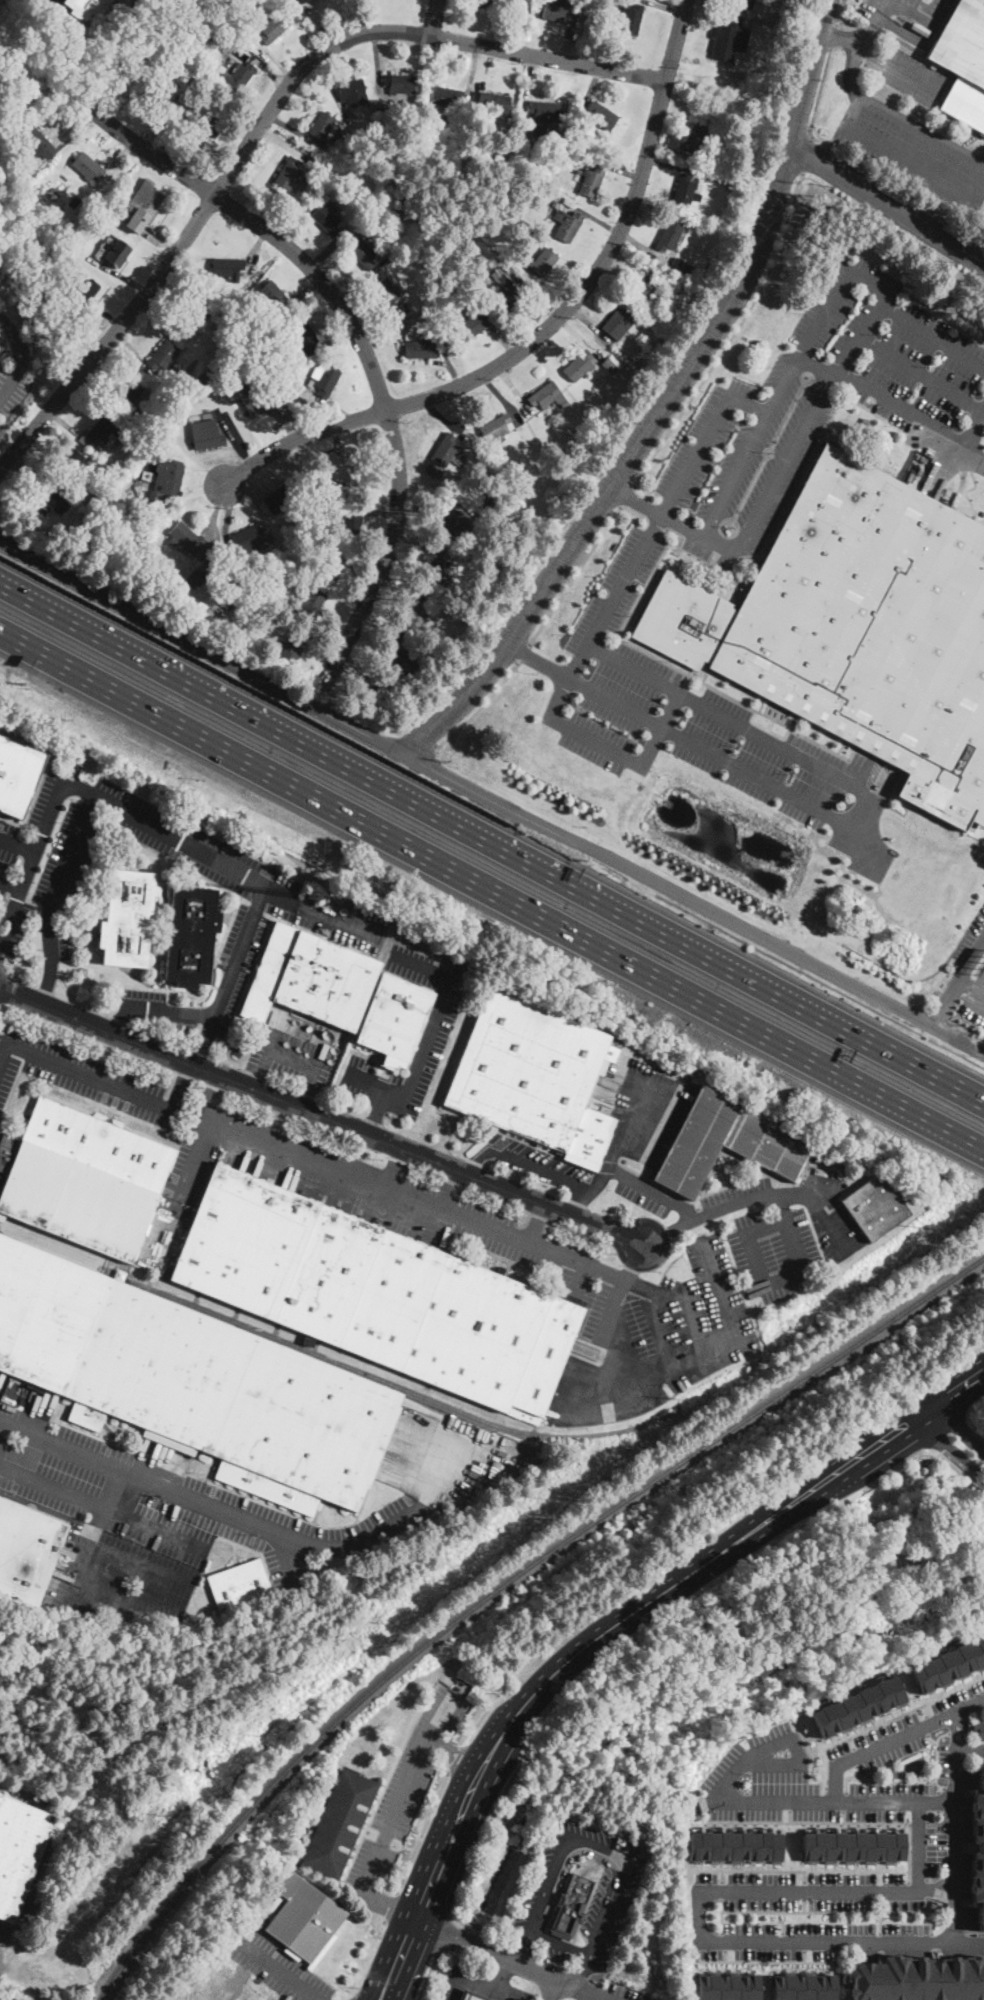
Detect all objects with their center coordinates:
building: (301, 0)
road: (941, 0)
parking lot: (53, 2)
building: (272, 2)
parking lot: (145, 3)
building: (487, 3)
building: (620, 3)
building: (741, 3)
road: (662, 6)
building: (87, 8)
building: (557, 12)
road: (841, 13)
road: (701, 15)
parking lot: (906, 16)
road: (435, 18)
building: (632, 18)
road: (869, 22)
road: (319, 25)
building: (273, 28)
road: (560, 33)
road: (575, 34)
road: (834, 37)
road: (839, 37)
building: (731, 39)
building: (181, 49)
road: (272, 60)
building: (963, 61)
road: (379, 65)
road: (900, 69)
building: (760, 70)
road: (271, 73)
road: (471, 73)
road: (480, 73)
building: (206, 74)
road: (809, 74)
building: (239, 76)
parking lot: (913, 76)
building: (398, 83)
building: (120, 84)
road: (528, 86)
road: (333, 89)
road: (591, 89)
building: (166, 90)
building: (352, 92)
building: (445, 96)
building: (494, 102)
building: (373, 104)
building: (545, 110)
building: (601, 115)
road: (897, 117)
road: (266, 118)
road: (76, 127)
road: (157, 127)
building: (323, 127)
building: (204, 129)
building: (523, 129)
road: (297, 130)
building: (172, 134)
building: (696, 139)
building: (36, 143)
road: (286, 147)
road: (668, 148)
road: (164, 149)
parking lot: (913, 149)
road: (807, 156)
road: (119, 159)
road: (903, 159)
building: (419, 161)
building: (383, 162)
road: (668, 164)
building: (87, 166)
building: (361, 166)
road: (859, 167)
road: (620, 169)
building: (387, 170)
building: (288, 173)
building: (591, 181)
building: (684, 190)
building: (325, 197)
building: (569, 203)
building: (554, 204)
building: (143, 205)
road: (889, 205)
building: (58, 209)
building: (103, 219)
building: (326, 219)
road: (599, 221)
building: (567, 224)
building: (533, 236)
building: (669, 236)
road: (162, 238)
road: (781, 243)
road: (644, 246)
road: (329, 250)
road: (256, 251)
building: (117, 252)
building: (362, 253)
building: (544, 261)
road: (637, 261)
building: (676, 261)
building: (427, 266)
building: (493, 266)
building: (227, 267)
building: (689, 271)
building: (474, 275)
road: (127, 277)
road: (361, 279)
building: (644, 288)
building: (85, 291)
road: (885, 291)
building: (272, 294)
road: (300, 295)
road: (555, 295)
building: (206, 296)
building: (257, 296)
building: (390, 298)
road: (542, 298)
building: (508, 299)
building: (225, 307)
road: (97, 316)
building: (187, 316)
road: (159, 317)
building: (471, 323)
building: (616, 323)
road: (591, 327)
road: (548, 328)
road: (498, 331)
building: (435, 332)
road: (338, 334)
road: (580, 337)
road: (855, 337)
building: (301, 338)
road: (363, 348)
building: (419, 349)
road: (134, 351)
building: (257, 351)
parking lot: (894, 352)
road: (19, 355)
building: (163, 355)
road: (816, 364)
road: (449, 365)
building: (579, 365)
building: (609, 365)
building: (223, 367)
road: (921, 373)
building: (324, 379)
road: (97, 383)
building: (288, 383)
building: (211, 384)
road: (514, 389)
building: (613, 390)
parking lot: (11, 391)
building: (129, 392)
building: (253, 395)
building: (546, 395)
road: (501, 397)
building: (564, 403)
building: (191, 406)
road: (336, 409)
road: (444, 417)
road: (917, 417)
building: (864, 421)
road: (285, 423)
road: (69, 425)
building: (496, 427)
building: (105, 430)
building: (206, 434)
road: (234, 438)
road: (342, 440)
road: (751, 443)
building: (95, 450)
building: (445, 450)
parking lot: (939, 454)
road: (974, 455)
road: (40, 458)
parking lot: (743, 460)
road: (784, 461)
building: (69, 462)
building: (91, 464)
road: (624, 468)
building: (347, 472)
building: (434, 472)
building: (166, 479)
road: (429, 481)
road: (252, 483)
building: (491, 486)
building: (328, 488)
road: (22, 491)
road: (196, 493)
road: (627, 494)
building: (325, 495)
building: (283, 497)
road: (424, 499)
building: (53, 500)
road: (26, 504)
building: (103, 509)
road: (376, 510)
road: (634, 511)
road: (216, 512)
road: (227, 515)
road: (659, 516)
building: (321, 517)
building: (83, 518)
road: (674, 518)
building: (451, 519)
road: (655, 524)
building: (351, 526)
building: (186, 537)
building: (526, 537)
building: (248, 540)
building: (467, 540)
building: (151, 544)
road: (410, 548)
road: (364, 561)
building: (331, 568)
building: (437, 568)
road: (575, 574)
building: (196, 578)
road: (398, 586)
building: (234, 595)
building: (311, 604)
building: (417, 610)
road: (377, 621)
building: (857, 629)
road: (330, 631)
building: (291, 648)
road: (324, 648)
building: (395, 652)
road: (523, 652)
road: (537, 659)
road: (359, 663)
road: (630, 670)
building: (373, 690)
road: (613, 702)
road: (480, 707)
parking lot: (704, 725)
road: (792, 754)
building: (17, 774)
road: (490, 799)
road: (492, 842)
road: (18, 844)
road: (31, 862)
road: (221, 862)
road: (59, 877)
road: (11, 882)
road: (492, 887)
parking lot: (280, 905)
building: (127, 918)
building: (159, 921)
parking lot: (975, 933)
building: (190, 935)
road: (971, 952)
road: (234, 961)
building: (310, 978)
road: (966, 983)
road: (47, 984)
road: (975, 991)
road: (945, 999)
parking lot: (974, 1002)
road: (171, 1012)
road: (437, 1014)
building: (394, 1017)
parking lot: (440, 1020)
road: (122, 1021)
road: (201, 1051)
building: (323, 1051)
parking lot: (290, 1054)
road: (290, 1057)
road: (257, 1067)
road: (81, 1072)
parking lot: (85, 1077)
building: (534, 1077)
road: (651, 1082)
road: (376, 1084)
road: (183, 1085)
road: (310, 1087)
road: (209, 1094)
road: (376, 1110)
road: (628, 1113)
road: (320, 1114)
road: (648, 1120)
building: (727, 1142)
road: (625, 1151)
road: (195, 1157)
road: (479, 1157)
road: (611, 1157)
road: (397, 1168)
road: (544, 1171)
building: (82, 1179)
road: (449, 1189)
road: (590, 1191)
road: (652, 1191)
parking lot: (714, 1197)
road: (755, 1197)
building: (875, 1207)
road: (439, 1208)
road: (536, 1223)
road: (767, 1225)
road: (789, 1230)
road: (832, 1231)
road: (666, 1232)
parking lot: (501, 1245)
road: (757, 1257)
road: (634, 1262)
building: (306, 1265)
building: (162, 1272)
road: (784, 1275)
road: (578, 1278)
road: (720, 1290)
road: (664, 1299)
road: (611, 1306)
road: (627, 1308)
road: (693, 1323)
building: (490, 1337)
road: (659, 1337)
road: (700, 1356)
road: (626, 1363)
building: (190, 1381)
road: (943, 1416)
road: (932, 1425)
road: (2, 1430)
railway: (562, 1437)
road: (971, 1438)
road: (924, 1450)
road: (962, 1460)
road: (105, 1507)
road: (211, 1507)
parking lot: (132, 1515)
building: (26, 1552)
road: (289, 1559)
road: (143, 1562)
road: (78, 1575)
building: (238, 1584)
railway: (505, 1584)
building: (237, 1610)
road: (613, 1625)
building: (946, 1661)
building: (853, 1705)
road: (922, 1710)
road: (482, 1719)
road: (882, 1721)
road: (925, 1724)
road: (967, 1726)
building: (977, 1728)
road: (957, 1730)
road: (930, 1738)
road: (892, 1739)
road: (434, 1740)
road: (773, 1742)
road: (849, 1742)
road: (468, 1748)
road: (970, 1748)
road: (853, 1756)
road: (457, 1757)
road: (936, 1757)
road: (857, 1769)
road: (455, 1778)
road: (880, 1781)
parking lot: (406, 1792)
road: (399, 1796)
road: (844, 1801)
road: (836, 1802)
parking lot: (832, 1809)
building: (368, 1810)
road: (790, 1815)
road: (843, 1816)
building: (338, 1822)
road: (421, 1833)
road: (485, 1835)
building: (730, 1843)
building: (849, 1843)
road: (593, 1845)
building: (978, 1845)
road: (918, 1846)
road: (957, 1847)
road: (909, 1849)
building: (19, 1850)
building: (350, 1852)
road: (566, 1865)
building: (42, 1874)
road: (803, 1876)
road: (910, 1877)
road: (803, 1890)
road: (837, 1890)
parking lot: (612, 1897)
road: (803, 1904)
road: (927, 1904)
road: (393, 1906)
road: (390, 1907)
building: (570, 1907)
road: (835, 1911)
road: (721, 1915)
road: (880, 1916)
building: (304, 1920)
road: (783, 1920)
road: (697, 1921)
road: (257, 1922)
road: (931, 1924)
road: (383, 1926)
road: (444, 1937)
road: (488, 1937)
road: (2, 1938)
parking lot: (4, 1939)
road: (560, 1942)
road: (854, 1944)
road: (498, 1954)
road: (801, 1962)
parking lot: (278, 1966)
road: (277, 1972)
road: (499, 1973)
building: (919, 1978)
road: (427, 1979)
building: (723, 1986)
building: (800, 1986)
road: (490, 1987)
road: (454, 1988)
road: (553, 1989)
road: (583, 1989)
parking lot: (615, 1992)
building: (471, 1996)
gas station: (471, 1996)
railway: (100, 1998)
road: (607, 1998)
road: (522, 1999)

